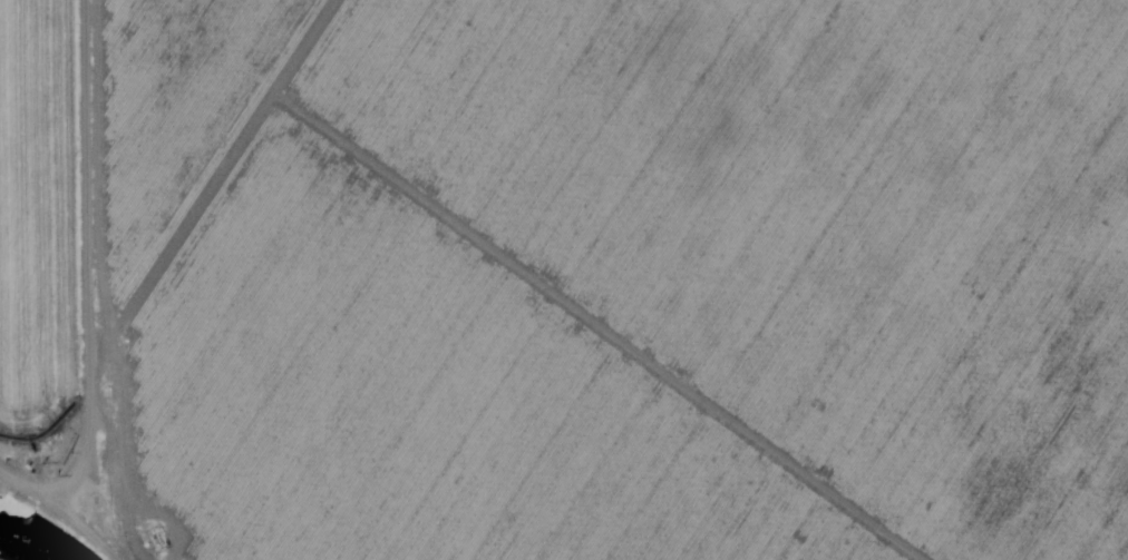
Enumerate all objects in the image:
crop: (57, 245)
crop: (621, 279)
road: (106, 470)

